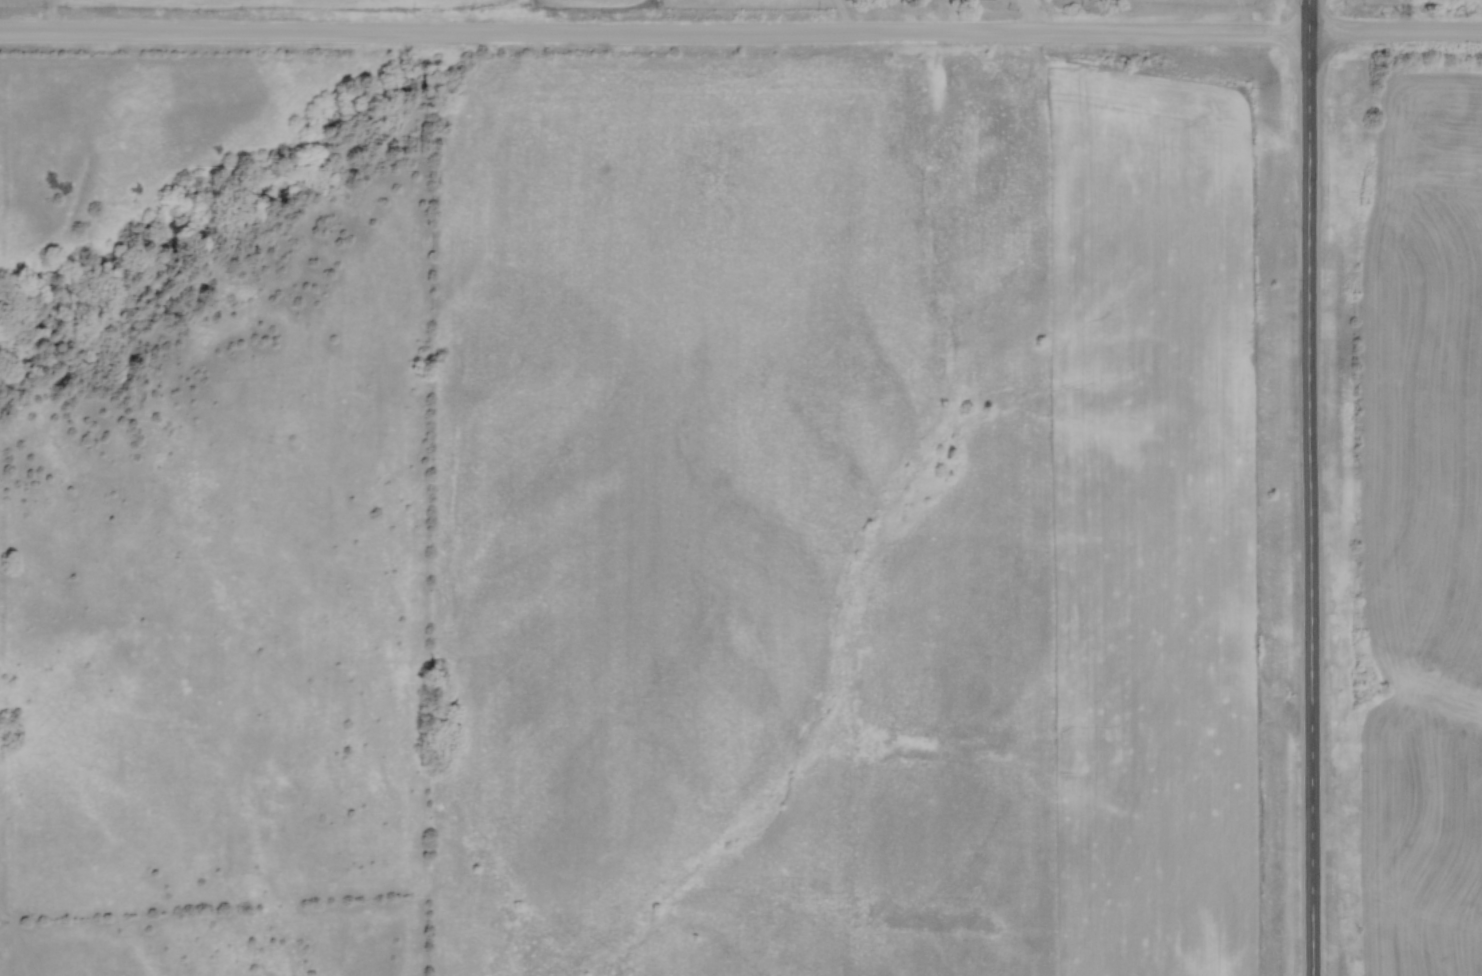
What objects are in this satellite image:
building: (982, 0)
road: (1028, 20)
road: (740, 40)
road: (1307, 487)

